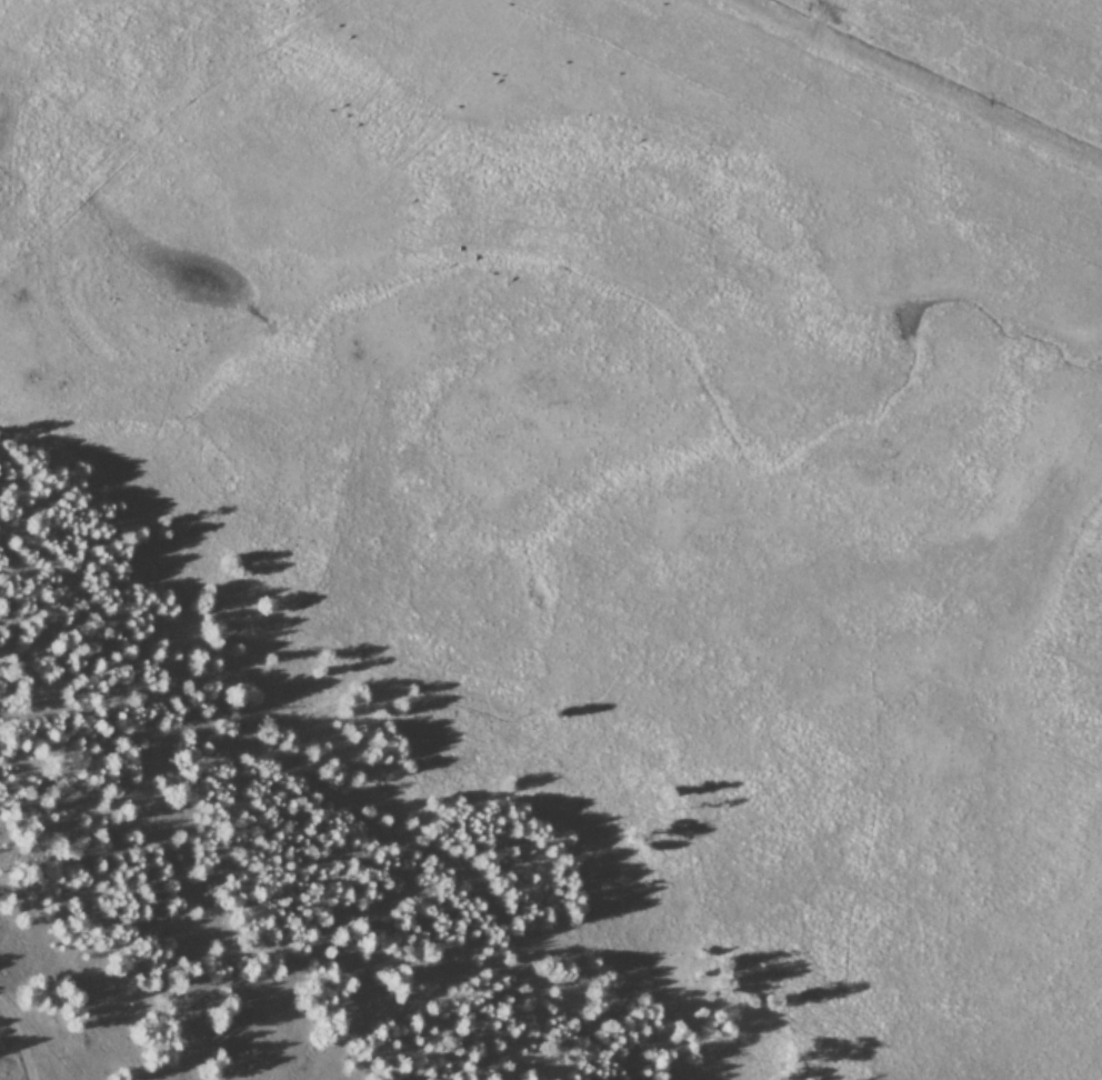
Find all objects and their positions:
road: (53, 986)

